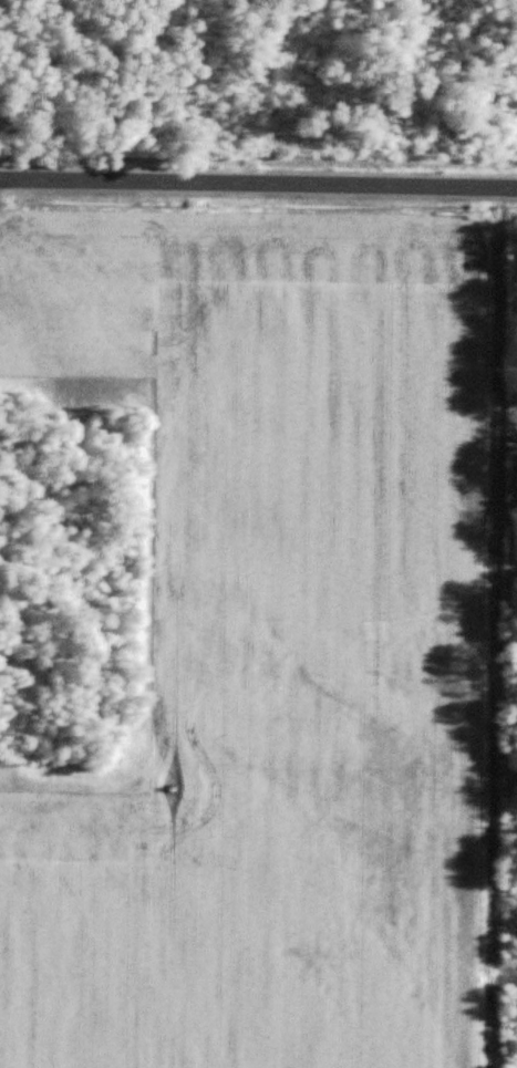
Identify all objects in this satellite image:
road: (258, 191)

